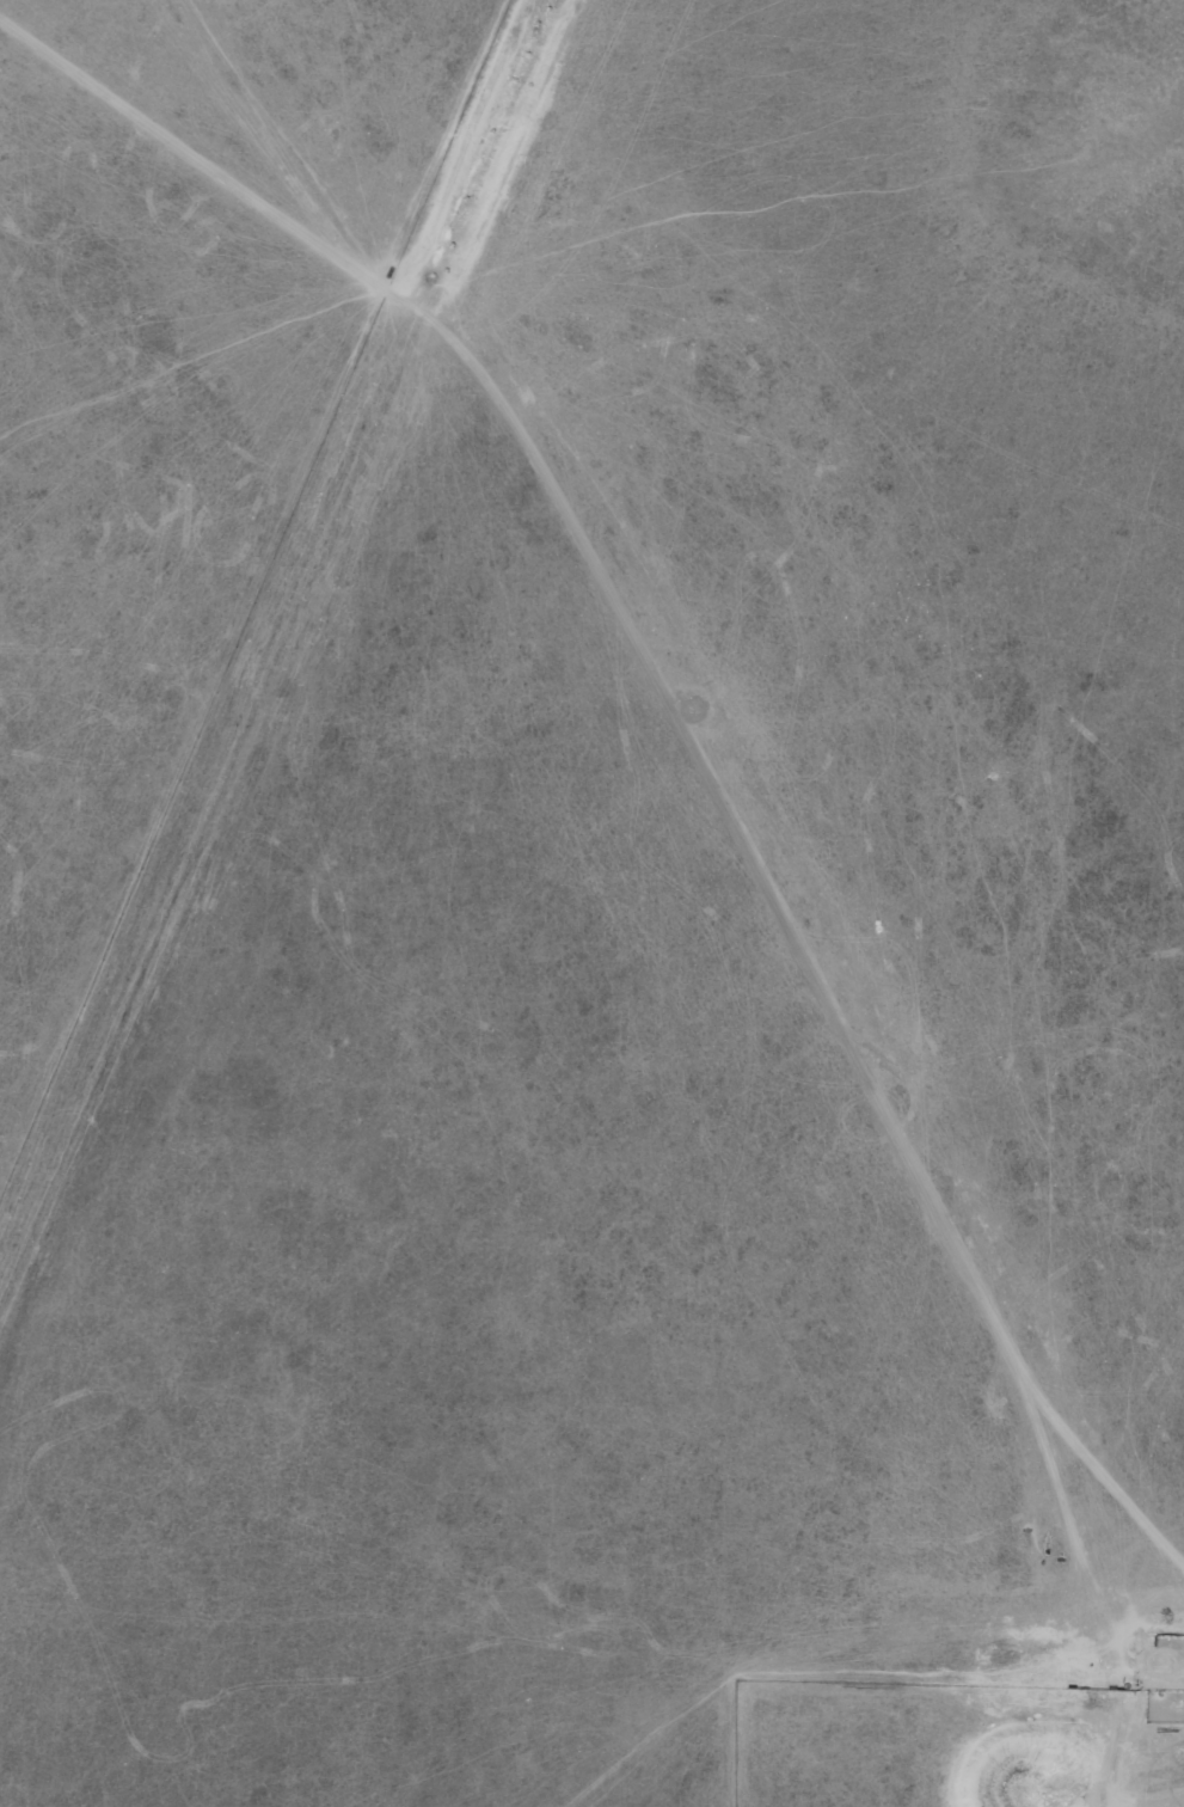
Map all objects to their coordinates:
railway: (260, 618)
building: (1170, 1641)

